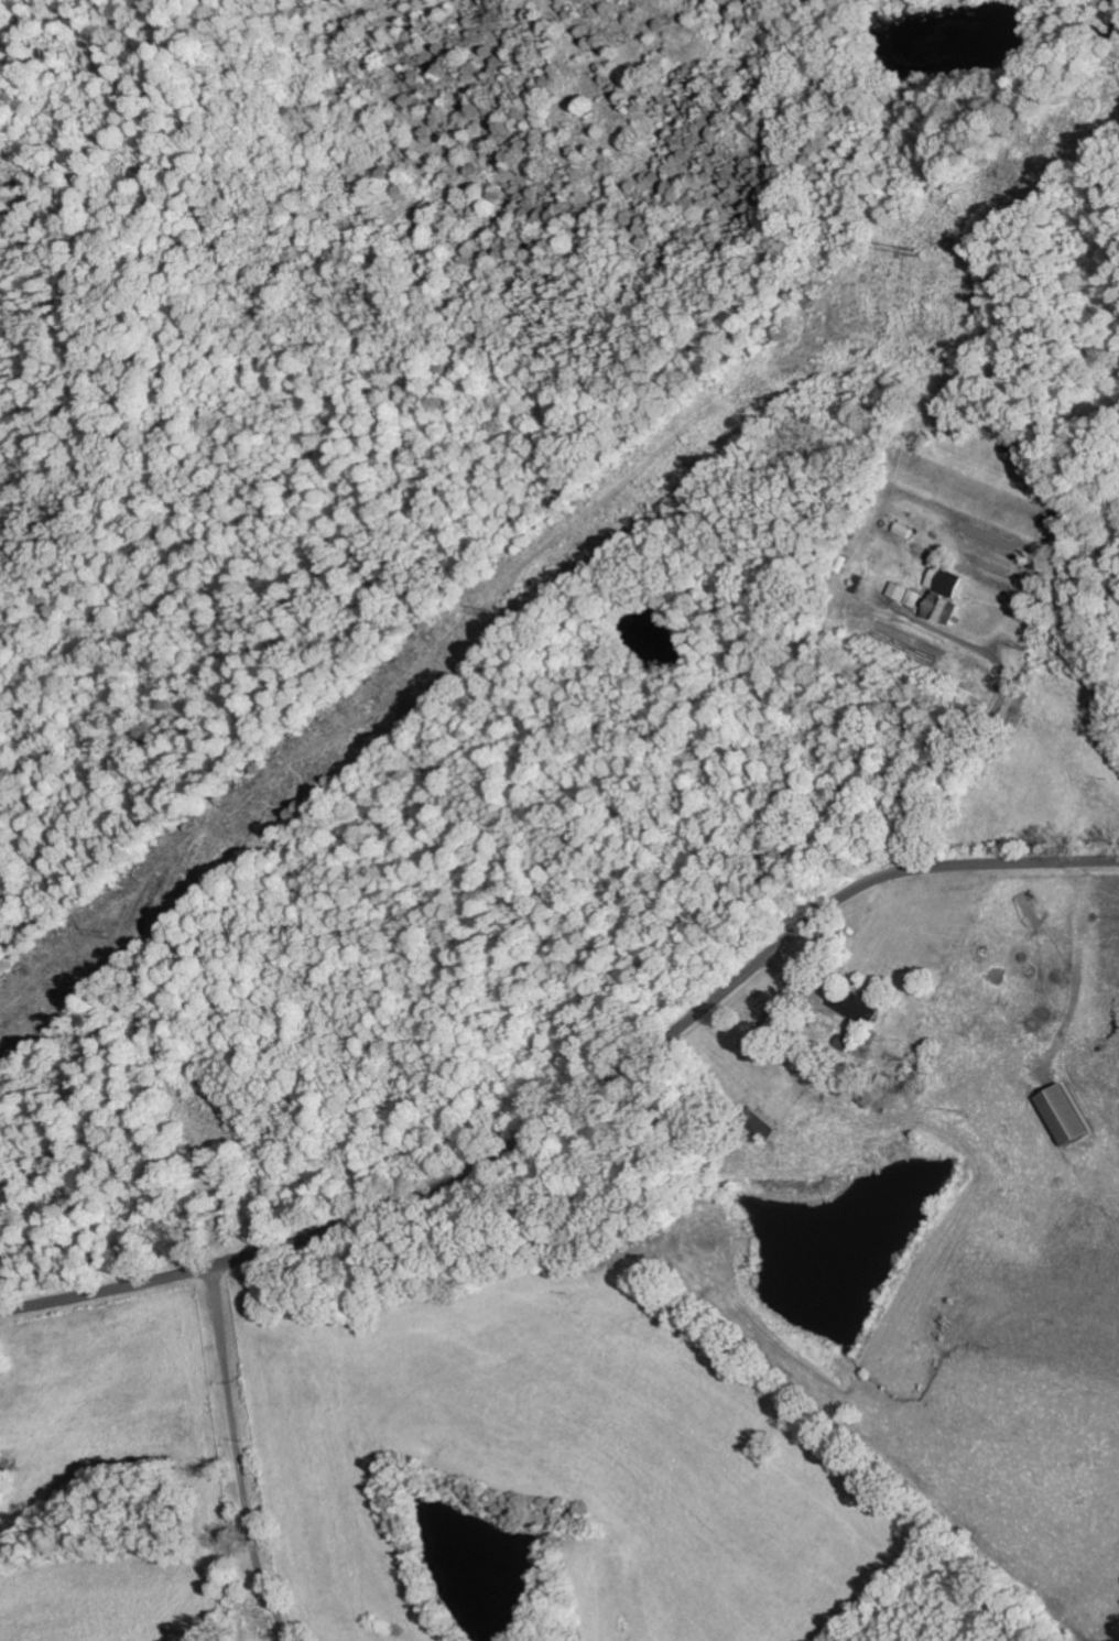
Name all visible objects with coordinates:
building: (948, 593)
building: (859, 1007)
building: (848, 1043)
road: (575, 1099)
building: (1071, 1117)
building: (773, 1129)
road: (271, 1454)

